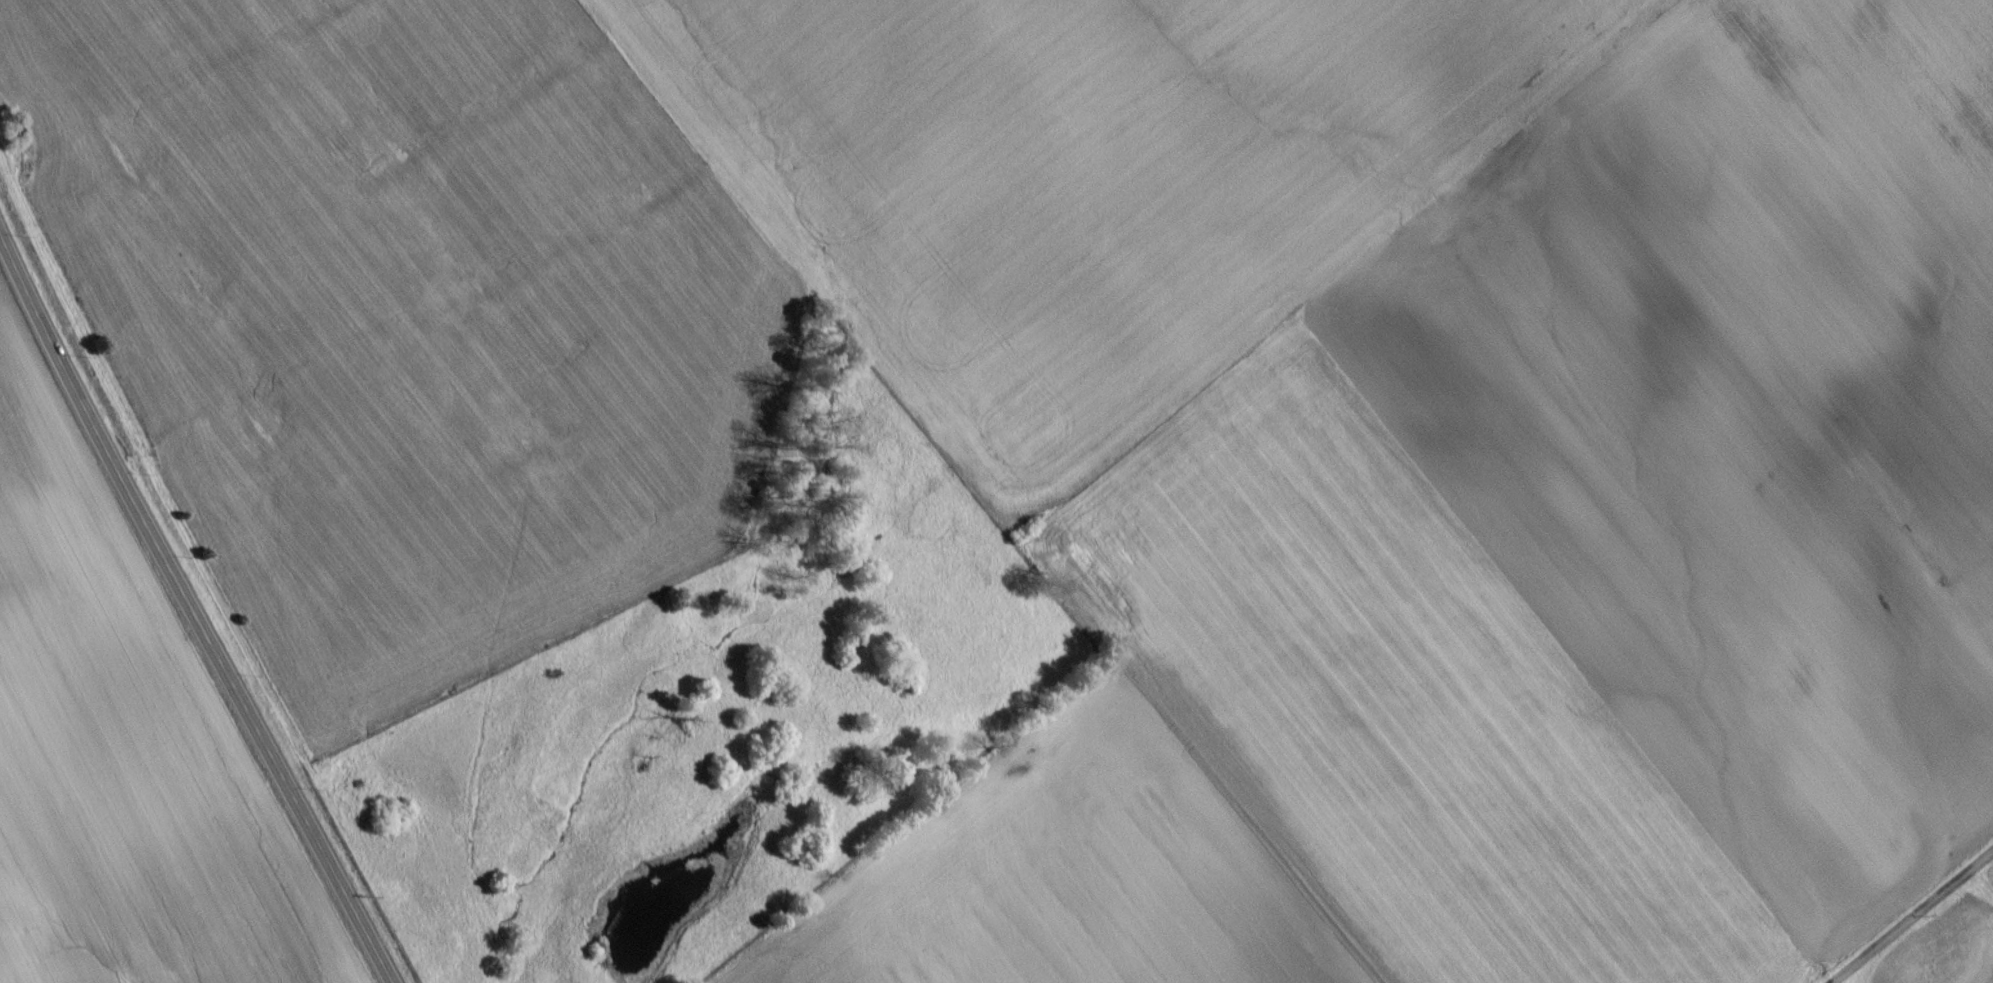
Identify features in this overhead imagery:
road: (189, 614)
road: (1913, 918)

